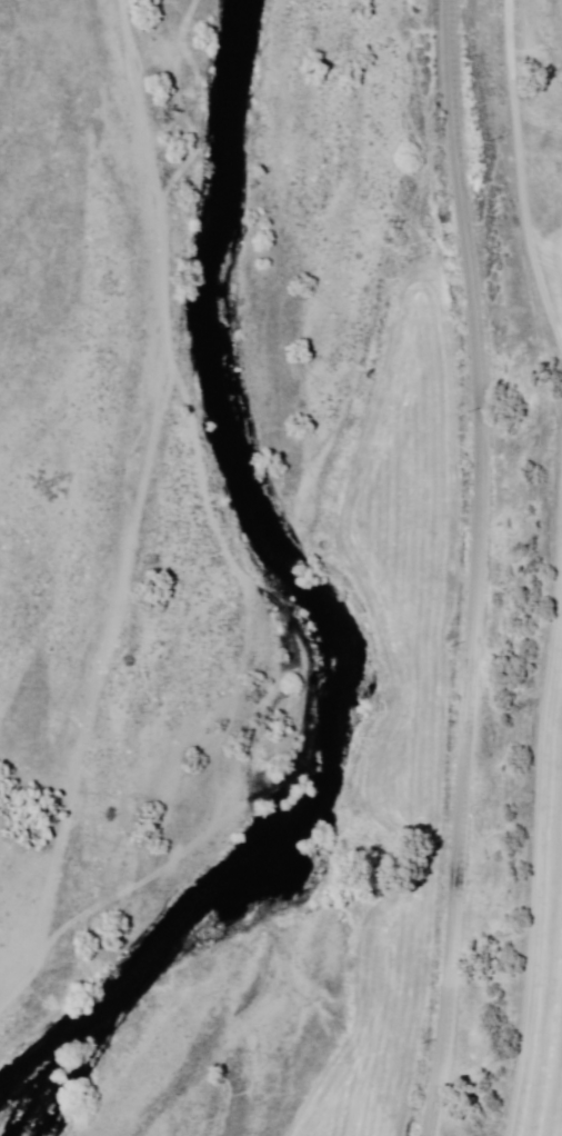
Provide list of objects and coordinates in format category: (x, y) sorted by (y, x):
crop: (553, 221)
river: (253, 263)
river: (240, 565)
road: (475, 568)
river: (205, 639)
river: (181, 720)
river: (152, 796)
crop: (540, 884)
river: (97, 988)

